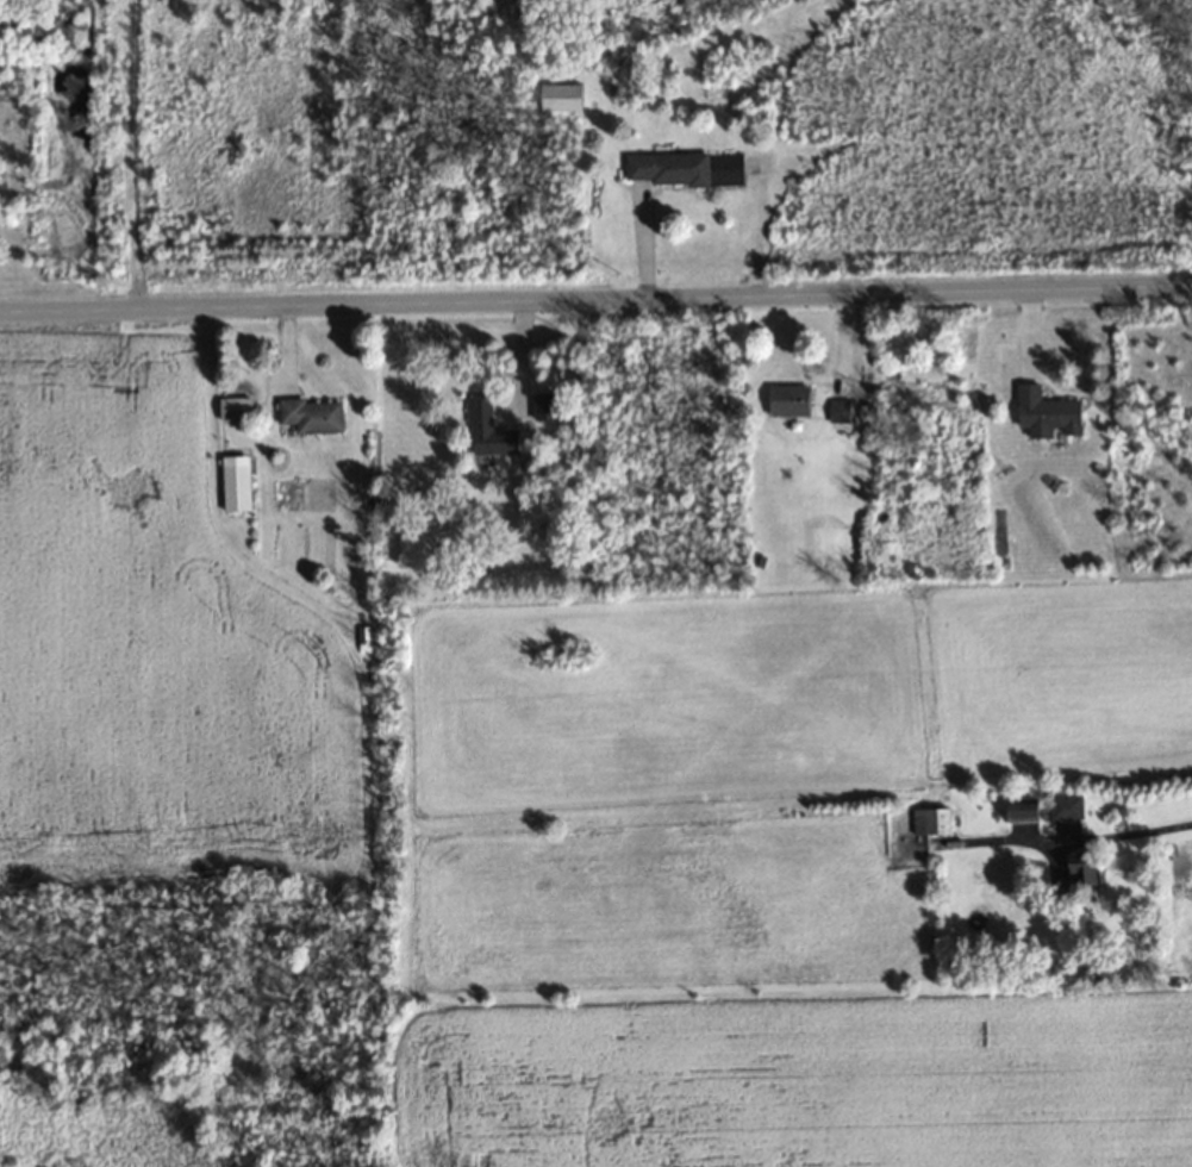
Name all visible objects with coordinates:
building: (557, 98)
building: (663, 168)
road: (595, 286)
building: (786, 400)
building: (542, 407)
building: (230, 410)
building: (840, 411)
building: (1043, 414)
building: (306, 417)
building: (485, 431)
building: (231, 483)
building: (363, 641)
building: (1063, 807)
building: (1017, 811)
building: (928, 820)
road: (1097, 837)
building: (1076, 869)

